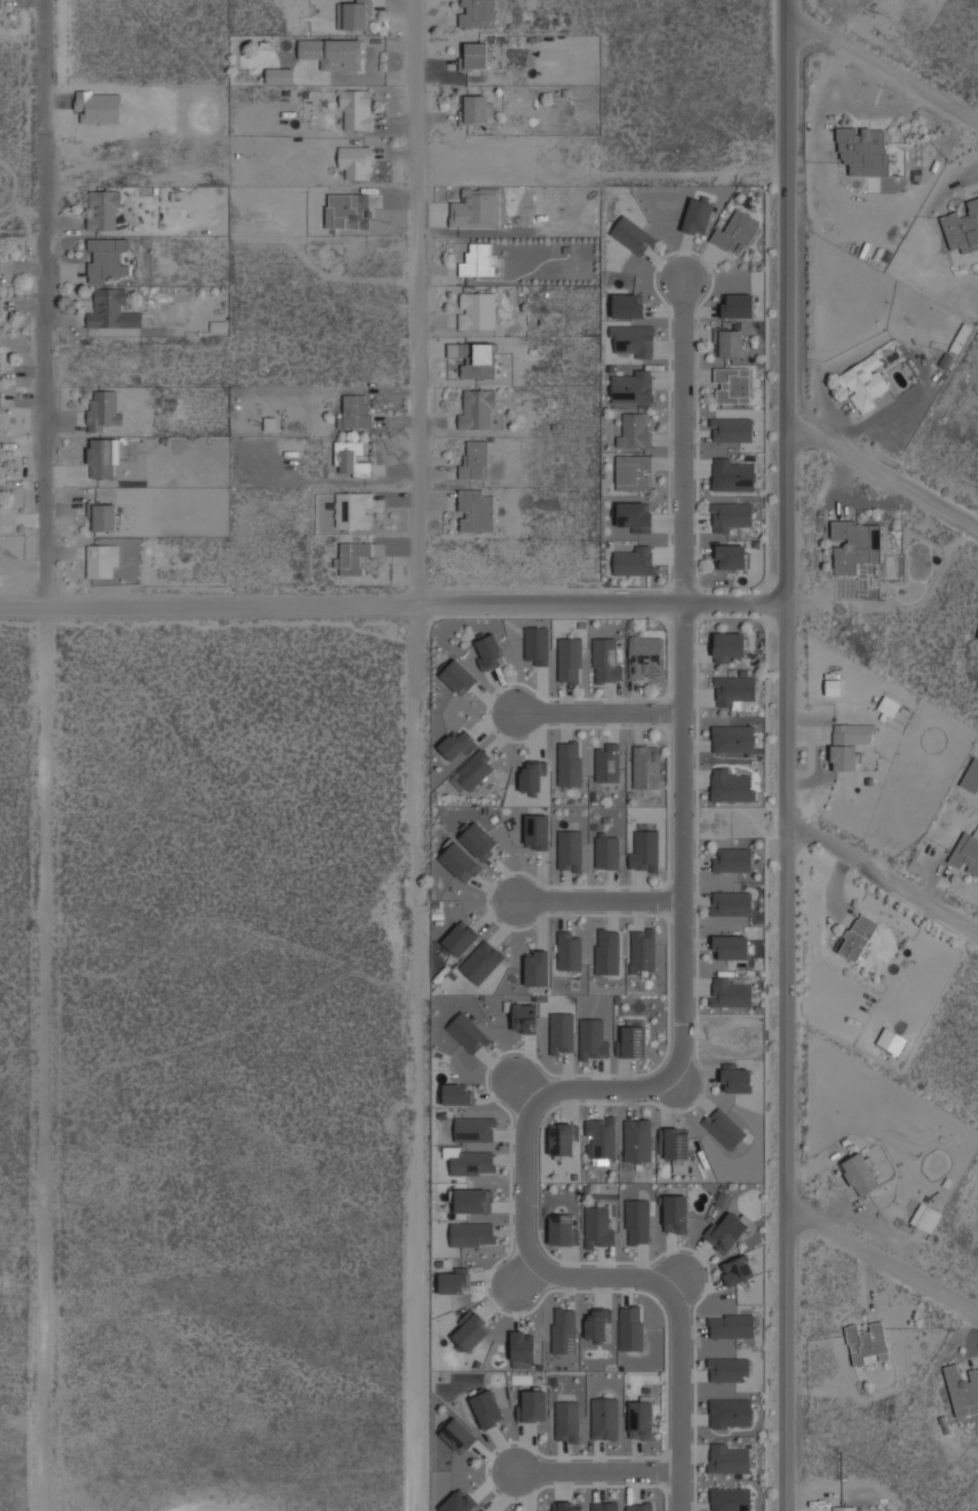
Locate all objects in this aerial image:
building: (0, 7)
building: (477, 13)
building: (354, 14)
building: (332, 53)
building: (475, 55)
road: (883, 68)
building: (279, 75)
building: (474, 108)
building: (356, 109)
building: (863, 149)
building: (356, 161)
building: (104, 209)
building: (476, 209)
building: (348, 211)
building: (698, 216)
building: (962, 227)
building: (736, 231)
building: (633, 235)
building: (106, 258)
building: (478, 260)
building: (0, 266)
building: (0, 305)
building: (627, 305)
building: (737, 306)
building: (112, 310)
building: (477, 310)
building: (961, 338)
building: (633, 339)
building: (729, 342)
building: (475, 359)
building: (864, 383)
building: (732, 385)
building: (632, 387)
building: (476, 408)
building: (102, 409)
building: (0, 410)
building: (355, 411)
building: (732, 430)
building: (634, 431)
road: (684, 442)
building: (103, 457)
building: (352, 458)
building: (0, 460)
building: (475, 461)
building: (634, 473)
building: (733, 475)
road: (883, 475)
building: (353, 510)
building: (476, 510)
building: (730, 515)
building: (104, 516)
building: (634, 516)
building: (855, 544)
building: (733, 556)
building: (352, 557)
building: (102, 559)
building: (634, 560)
road: (392, 604)
building: (977, 638)
building: (537, 645)
building: (729, 645)
building: (490, 650)
building: (646, 658)
building: (570, 659)
building: (606, 659)
building: (458, 676)
building: (733, 690)
building: (889, 705)
road: (599, 712)
building: (853, 732)
building: (733, 738)
building: (454, 744)
road: (46, 755)
road: (415, 755)
road: (785, 755)
building: (844, 757)
building: (607, 763)
building: (570, 764)
building: (646, 768)
building: (473, 770)
building: (532, 777)
building: (971, 777)
building: (731, 786)
building: (537, 831)
building: (479, 840)
building: (570, 851)
building: (607, 851)
building: (645, 851)
building: (966, 851)
building: (733, 859)
building: (459, 860)
road: (883, 874)
road: (599, 900)
building: (731, 903)
building: (858, 936)
building: (459, 939)
building: (731, 947)
building: (643, 948)
building: (607, 950)
building: (570, 951)
building: (482, 961)
building: (537, 967)
building: (732, 991)
building: (524, 1017)
building: (468, 1032)
building: (562, 1032)
building: (591, 1038)
building: (892, 1040)
building: (633, 1041)
building: (736, 1081)
road: (580, 1090)
building: (457, 1093)
building: (724, 1128)
building: (475, 1129)
building: (563, 1137)
building: (601, 1138)
building: (637, 1140)
building: (676, 1143)
building: (472, 1163)
building: (861, 1174)
building: (473, 1200)
building: (723, 1200)
building: (676, 1213)
building: (926, 1217)
building: (638, 1221)
building: (598, 1227)
building: (563, 1229)
building: (727, 1229)
building: (472, 1233)
road: (883, 1259)
building: (738, 1270)
building: (454, 1281)
building: (597, 1324)
building: (731, 1326)
building: (632, 1327)
building: (564, 1330)
building: (470, 1331)
building: (868, 1343)
building: (523, 1345)
building: (729, 1370)
building: (963, 1389)
building: (532, 1406)
building: (487, 1408)
building: (731, 1414)
building: (605, 1417)
building: (641, 1419)
building: (567, 1421)
building: (458, 1435)
building: (729, 1460)
road: (598, 1472)
building: (730, 1500)
building: (458, 1502)
building: (568, 1506)
building: (605, 1506)
building: (641, 1506)
building: (844, 1508)
building: (486, 1510)

